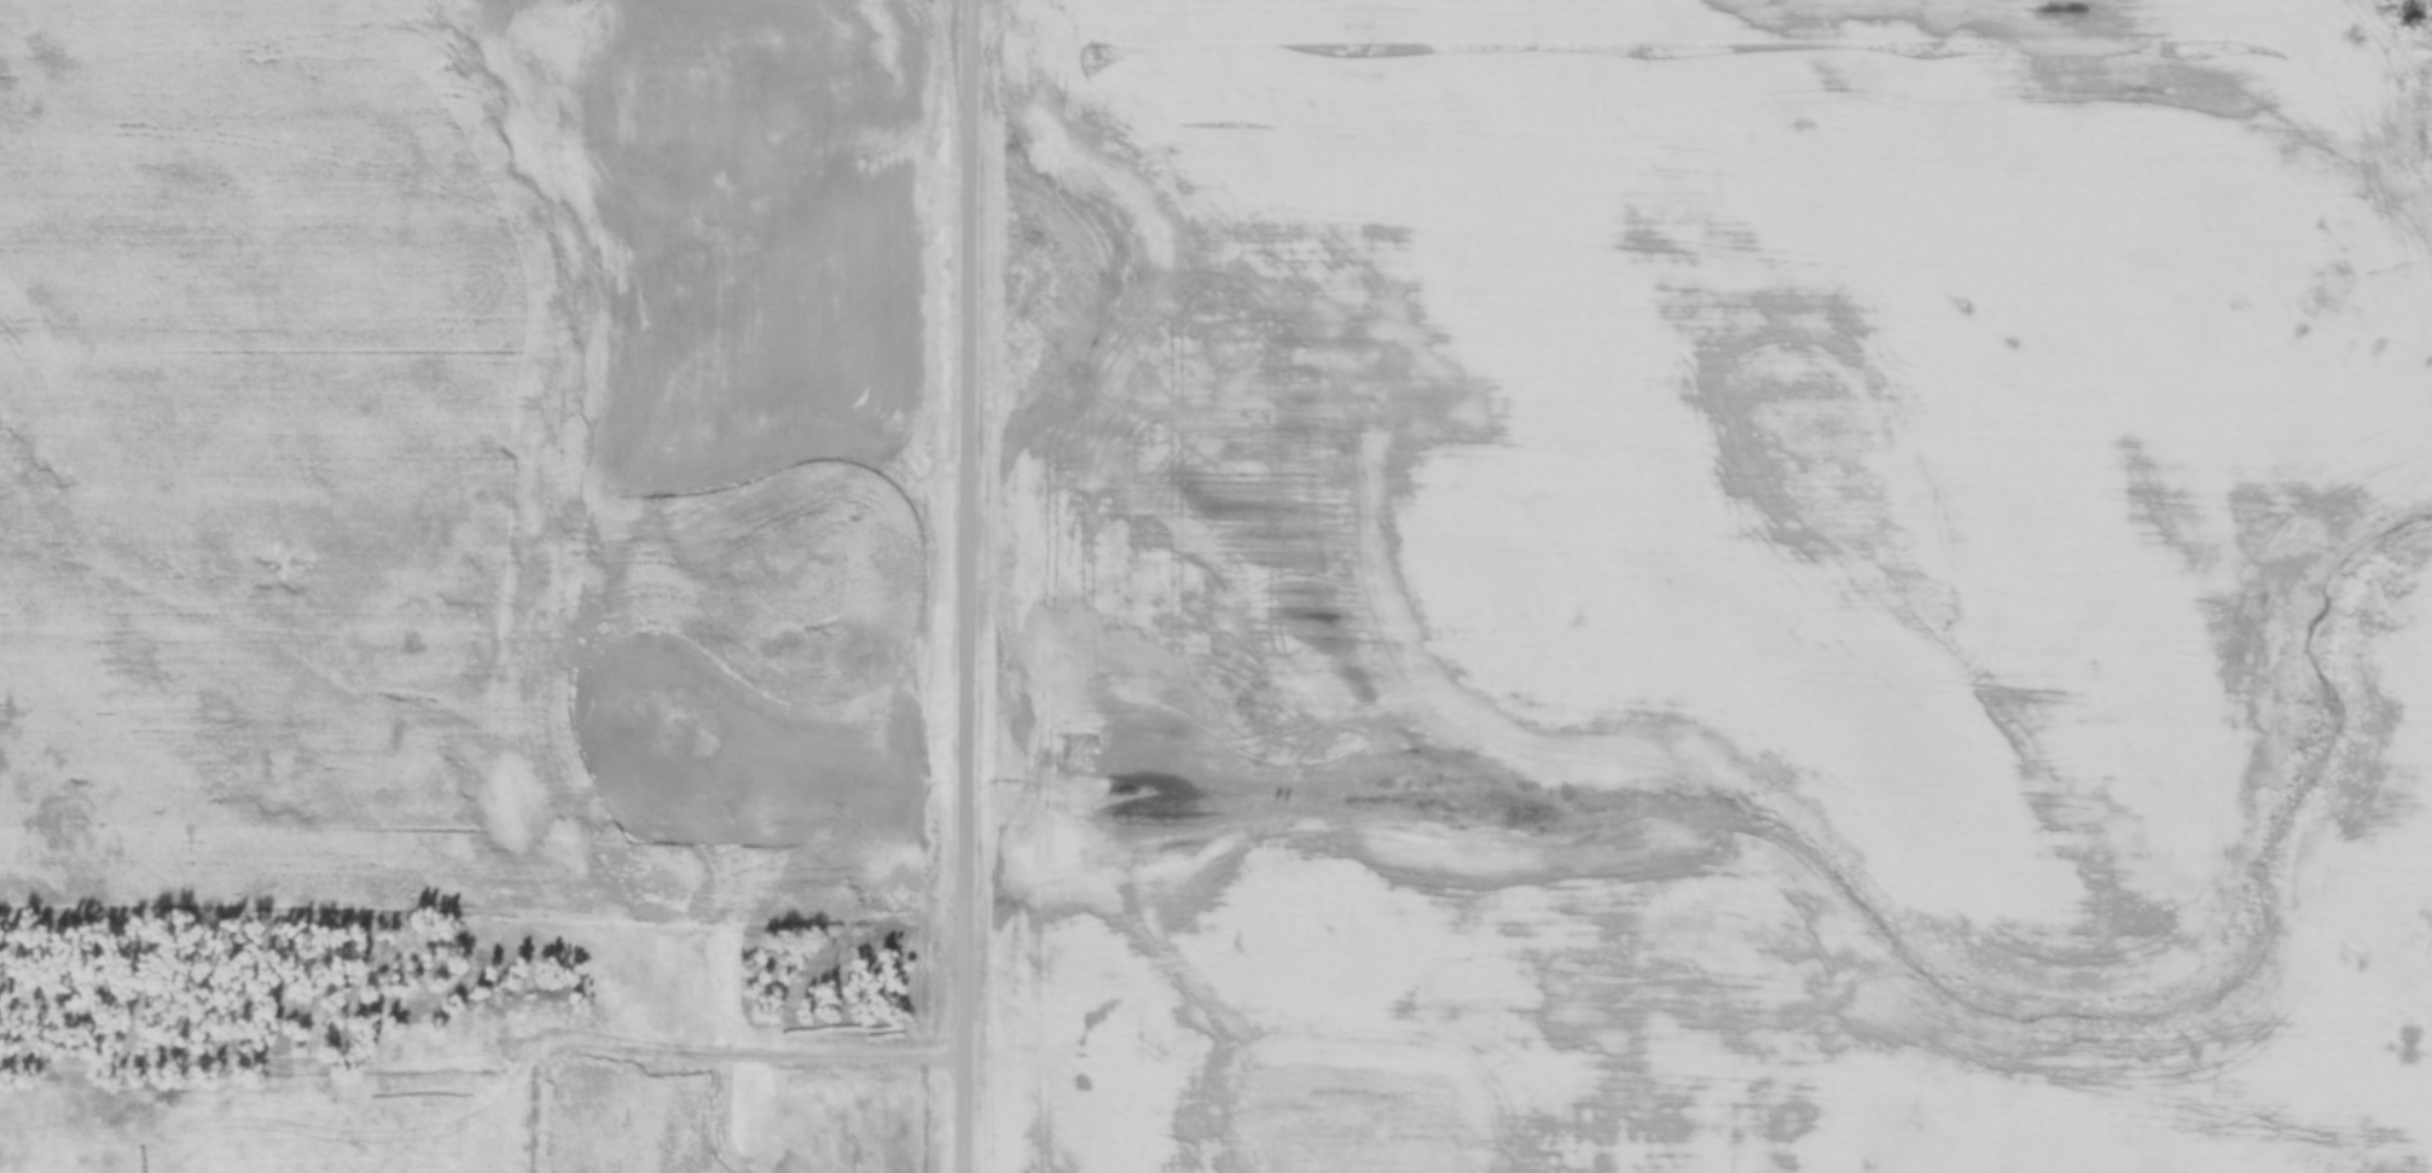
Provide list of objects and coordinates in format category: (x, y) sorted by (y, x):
road: (967, 586)

